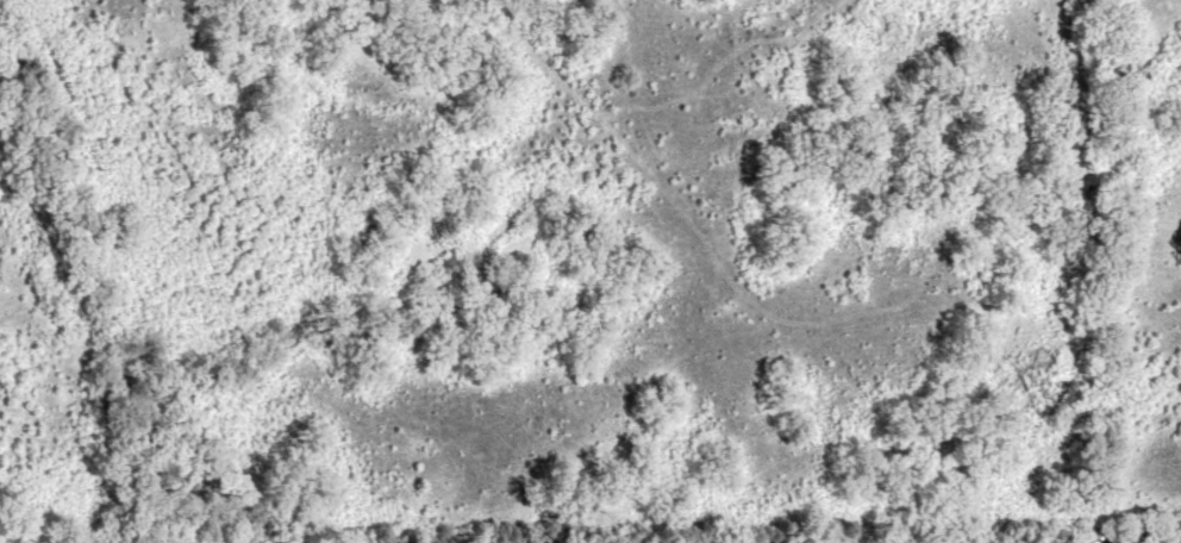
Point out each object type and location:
road: (770, 306)

